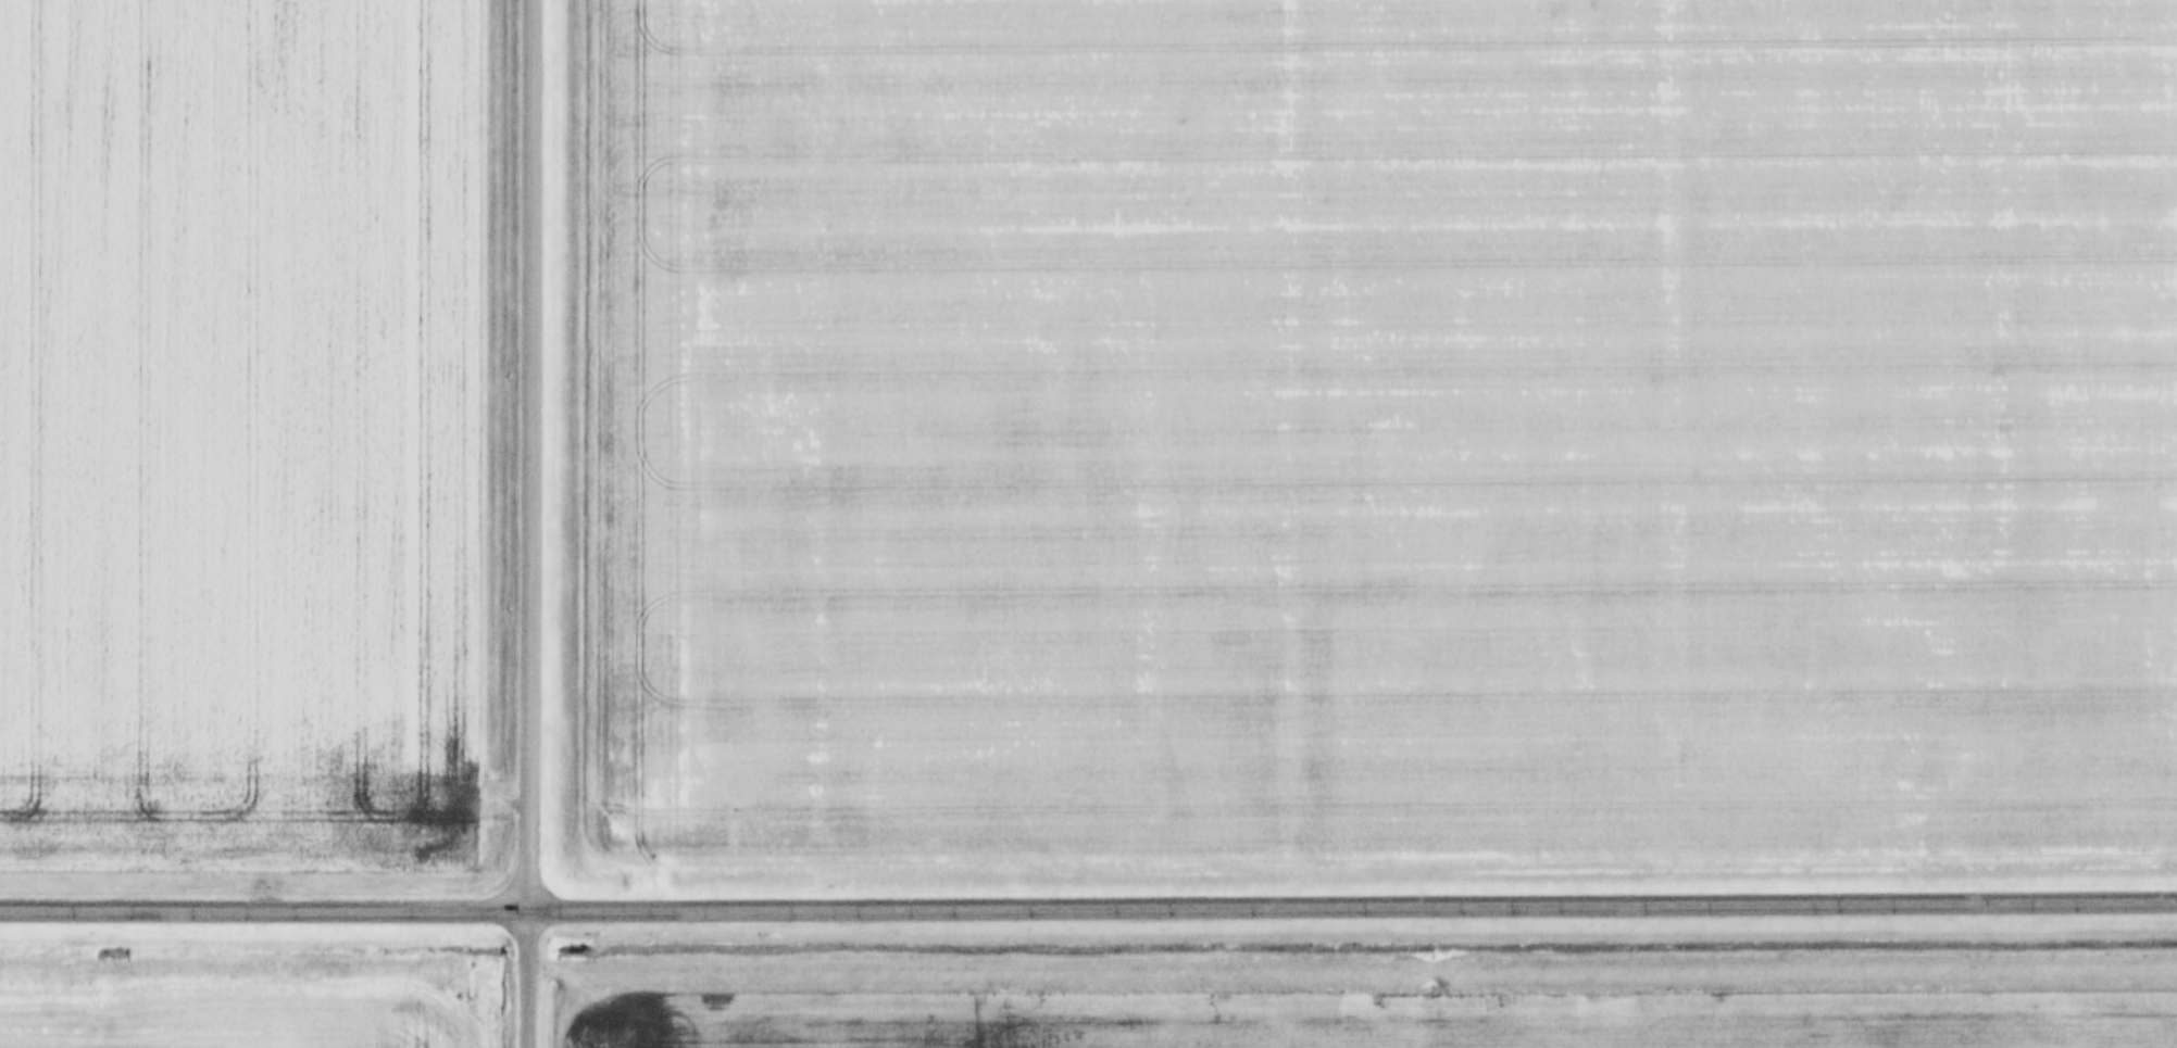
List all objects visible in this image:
road: (530, 523)
road: (1088, 909)

